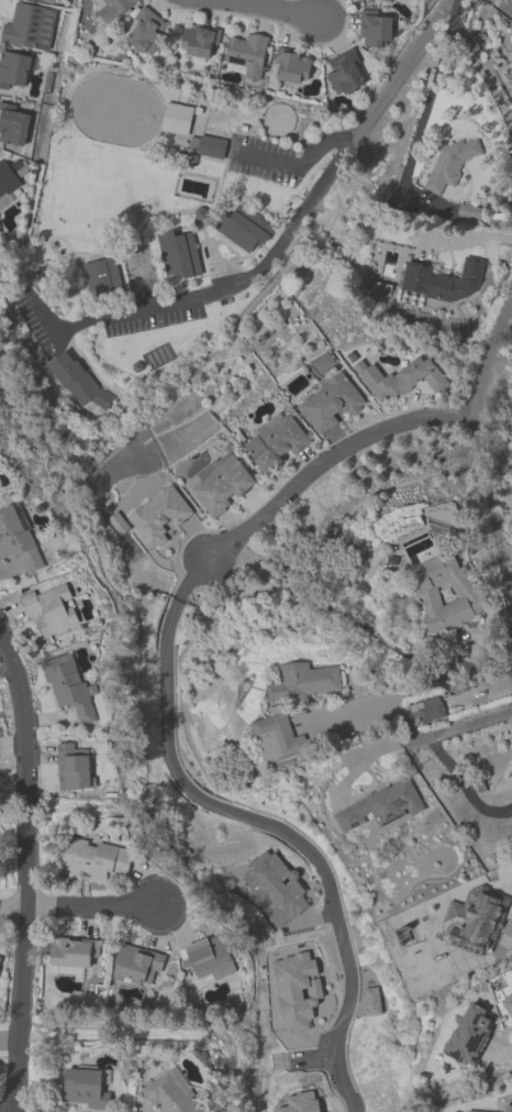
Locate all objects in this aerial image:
building: (51, 0)
building: (136, 0)
building: (356, 0)
road: (504, 5)
building: (111, 8)
road: (280, 10)
building: (29, 25)
building: (374, 26)
building: (145, 31)
building: (198, 38)
building: (245, 54)
building: (291, 65)
building: (13, 68)
building: (343, 70)
building: (511, 86)
building: (511, 90)
road: (379, 98)
building: (176, 118)
building: (12, 123)
building: (207, 145)
building: (449, 163)
road: (293, 164)
building: (8, 179)
building: (1, 203)
building: (243, 227)
road: (475, 236)
building: (177, 253)
building: (101, 276)
building: (442, 279)
road: (180, 299)
building: (400, 377)
building: (76, 381)
building: (330, 401)
building: (275, 442)
road: (330, 453)
road: (483, 464)
building: (219, 482)
building: (158, 514)
building: (16, 539)
road: (193, 575)
building: (446, 592)
building: (49, 607)
road: (7, 672)
road: (14, 678)
building: (302, 680)
building: (68, 685)
building: (424, 709)
road: (374, 711)
road: (459, 726)
building: (276, 734)
road: (369, 756)
building: (73, 767)
road: (459, 790)
building: (379, 805)
road: (263, 821)
building: (93, 857)
building: (274, 887)
road: (79, 903)
road: (24, 916)
building: (474, 918)
road: (511, 931)
building: (71, 950)
building: (207, 957)
building: (0, 958)
building: (135, 964)
building: (296, 989)
building: (370, 1000)
building: (508, 1004)
building: (468, 1035)
road: (498, 1052)
building: (84, 1087)
road: (343, 1089)
building: (170, 1096)
building: (300, 1102)
building: (505, 1109)
building: (468, 1111)

